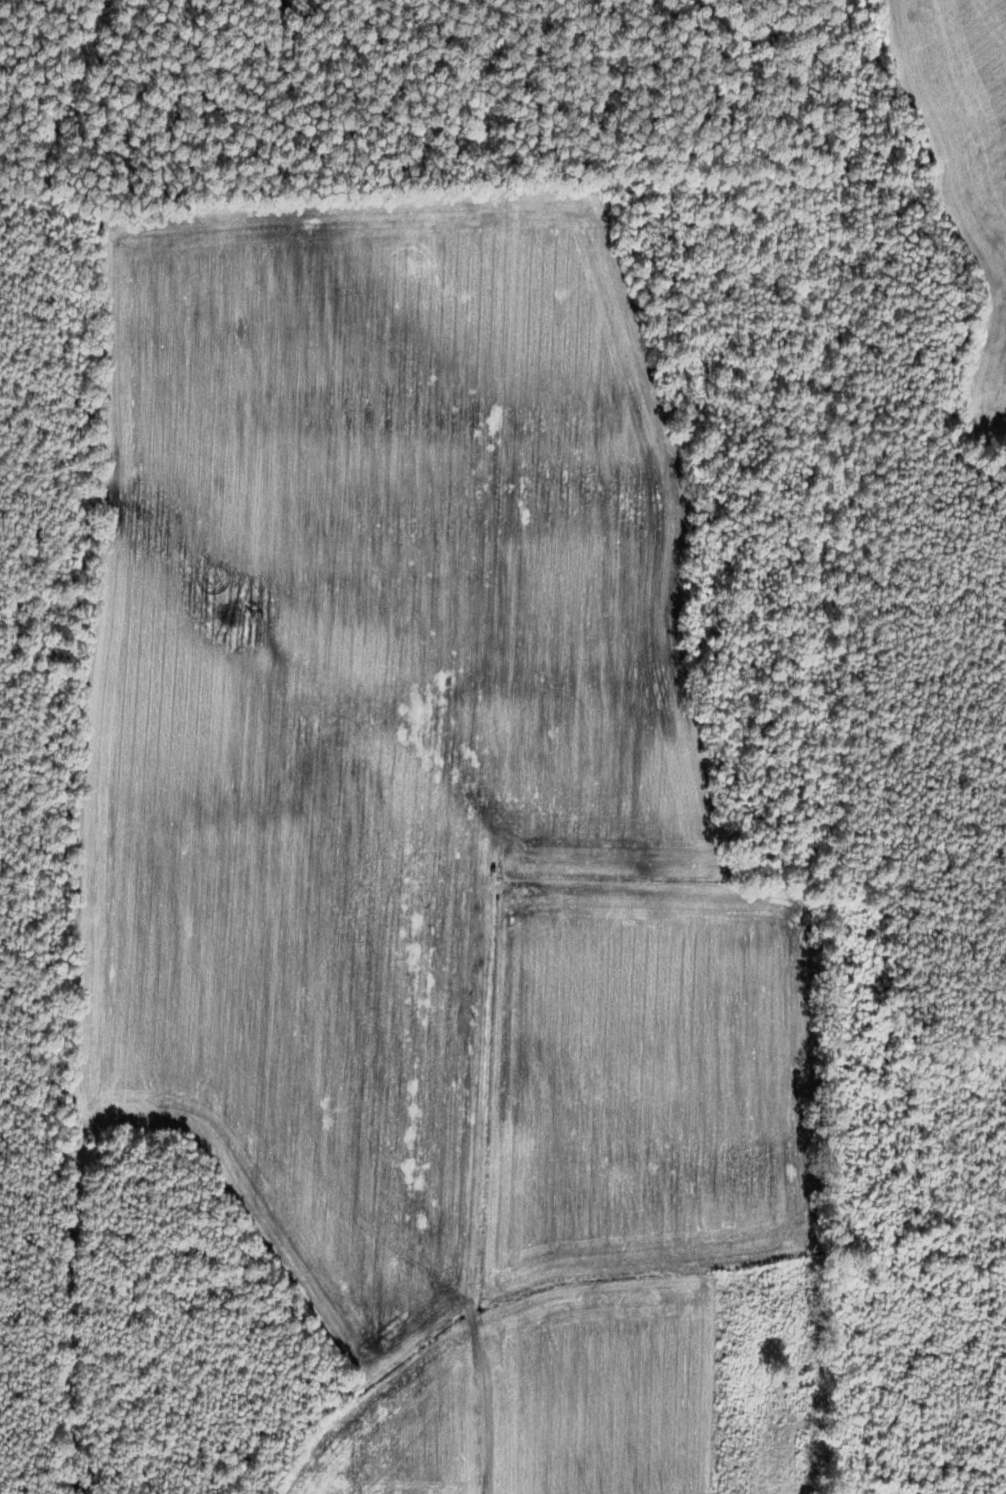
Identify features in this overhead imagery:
road: (471, 1408)

